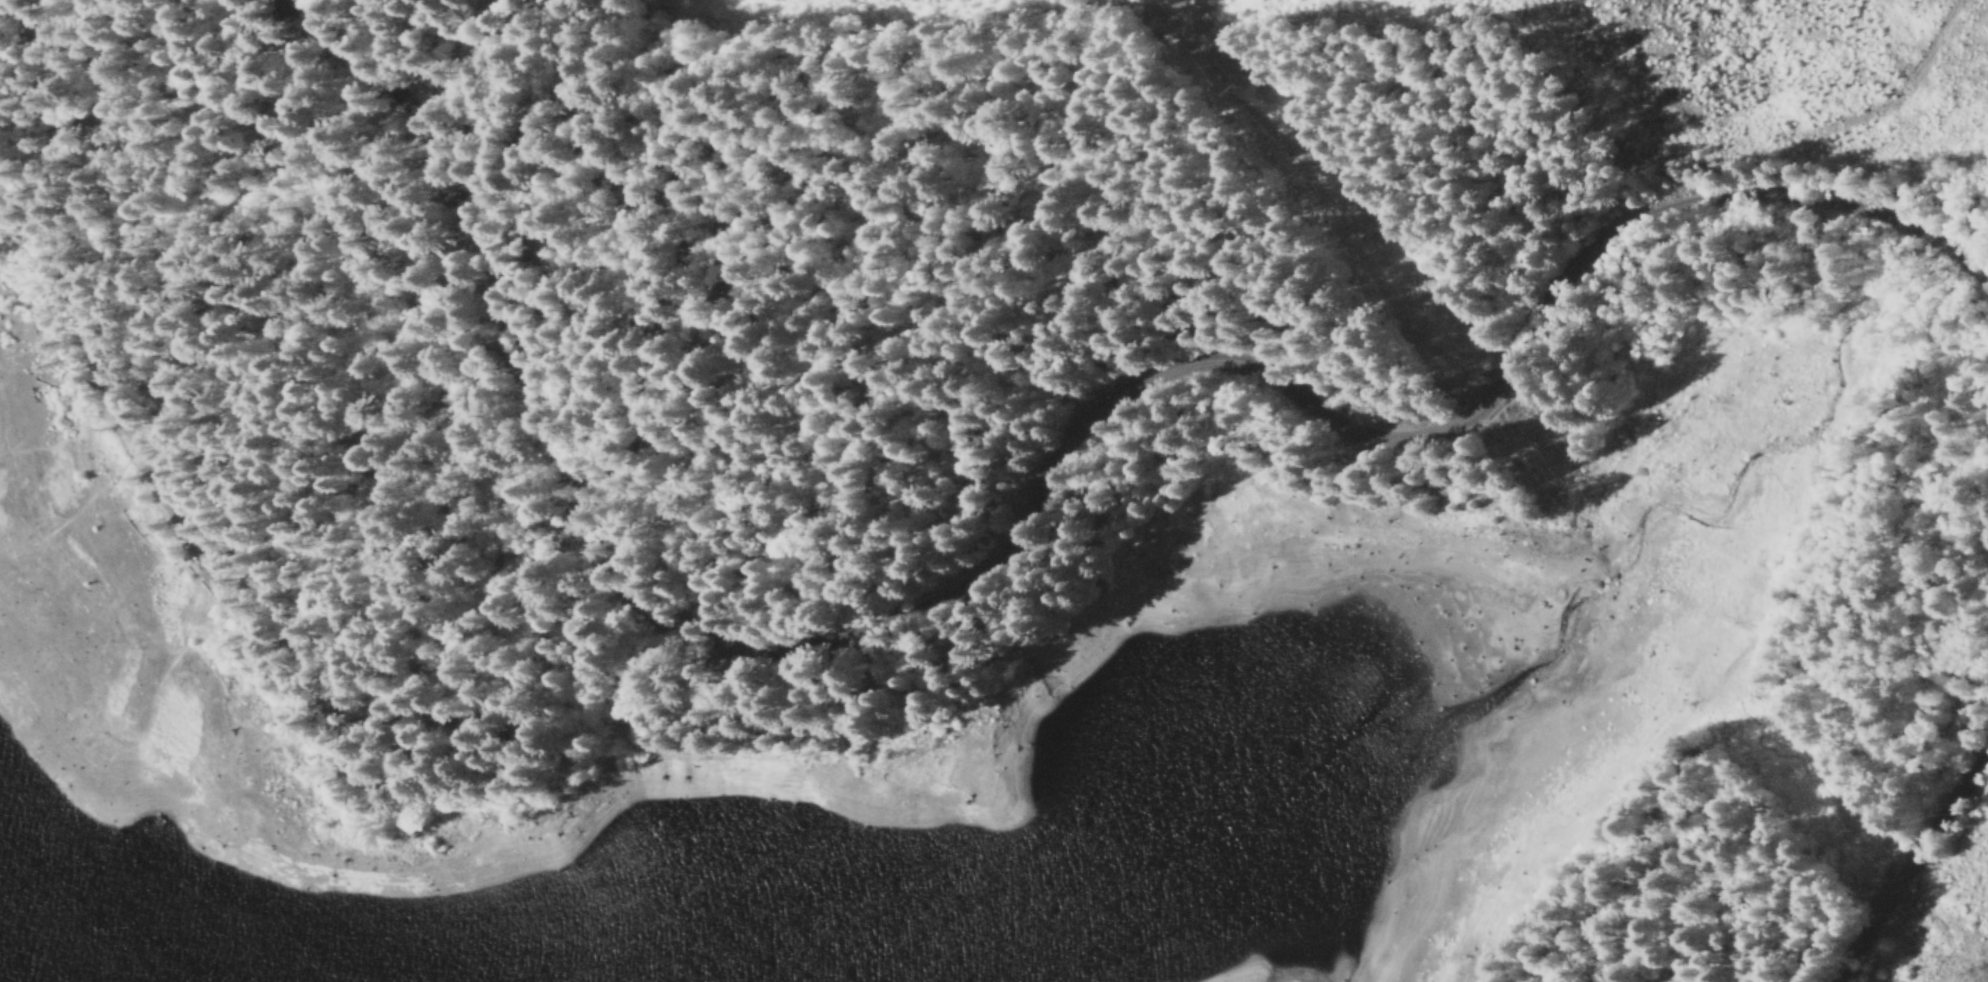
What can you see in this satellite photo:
road: (143, 314)
road: (478, 420)
road: (1031, 502)
road: (1909, 861)

